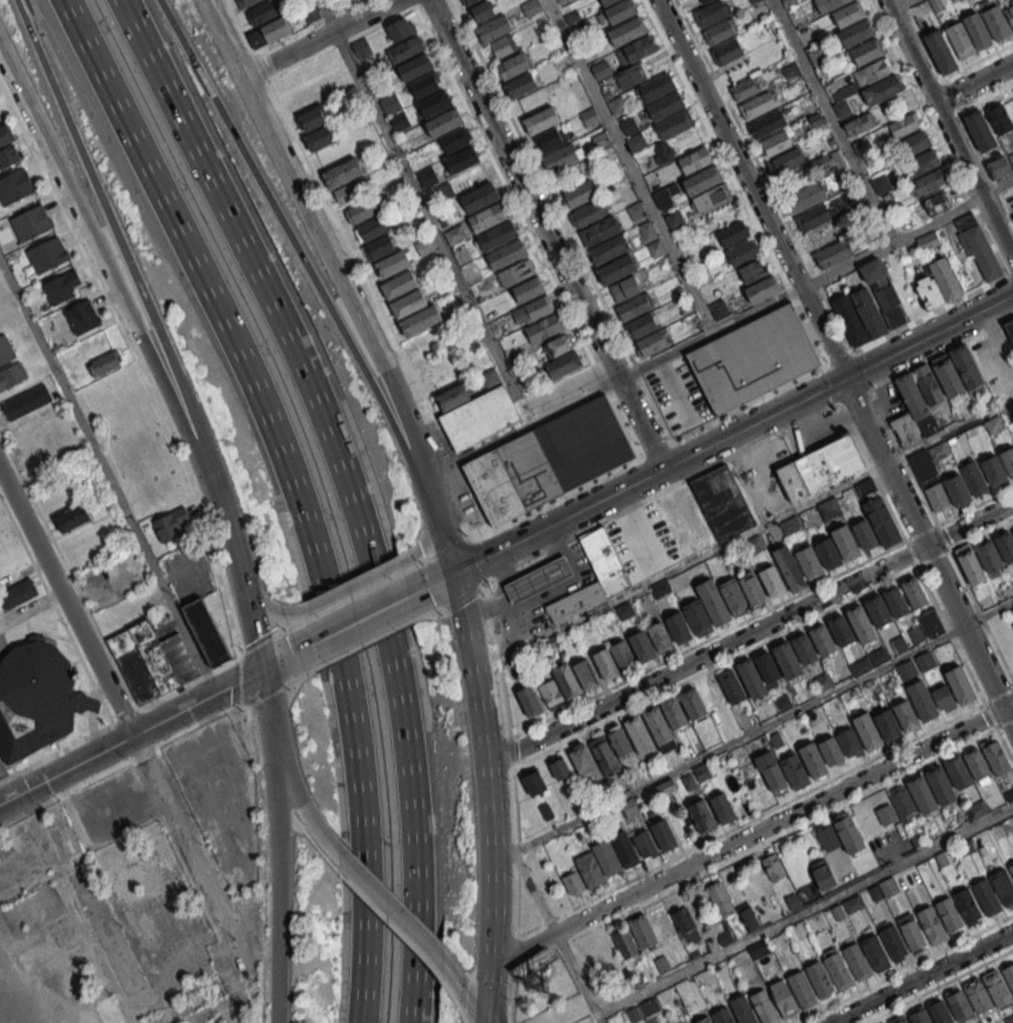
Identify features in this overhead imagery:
building: (470, 1)
building: (704, 1)
building: (711, 1)
road: (906, 1)
building: (248, 3)
road: (412, 3)
road: (421, 3)
building: (828, 4)
road: (895, 6)
building: (531, 7)
building: (618, 9)
building: (481, 11)
building: (263, 12)
building: (848, 14)
building: (713, 15)
road: (326, 16)
building: (998, 24)
road: (307, 26)
road: (240, 27)
building: (495, 31)
building: (627, 31)
building: (269, 32)
building: (718, 32)
building: (978, 32)
building: (856, 33)
road: (223, 39)
road: (320, 39)
building: (961, 41)
road: (341, 43)
building: (635, 50)
building: (727, 51)
building: (866, 51)
building: (405, 52)
building: (942, 54)
road: (978, 62)
road: (260, 67)
building: (515, 67)
building: (417, 69)
building: (600, 69)
building: (872, 72)
building: (632, 75)
road: (973, 82)
road: (15, 85)
building: (424, 86)
building: (522, 87)
building: (655, 87)
building: (743, 89)
building: (882, 90)
road: (985, 97)
building: (759, 104)
building: (436, 105)
building: (665, 105)
building: (617, 106)
building: (394, 111)
road: (957, 111)
building: (589, 117)
building: (999, 118)
road: (832, 121)
building: (543, 122)
building: (767, 123)
building: (628, 124)
building: (674, 124)
building: (446, 125)
building: (904, 125)
building: (317, 127)
building: (979, 129)
road: (947, 131)
building: (6, 134)
road: (938, 137)
building: (550, 139)
building: (456, 142)
building: (776, 143)
building: (912, 145)
building: (663, 153)
building: (9, 156)
building: (562, 157)
building: (695, 160)
building: (464, 162)
building: (787, 165)
road: (630, 166)
building: (1001, 166)
building: (342, 172)
building: (923, 173)
road: (763, 175)
building: (473, 180)
building: (702, 180)
road: (734, 182)
building: (880, 185)
building: (14, 186)
road: (751, 189)
building: (581, 192)
building: (806, 197)
building: (483, 199)
building: (711, 199)
building: (936, 204)
building: (359, 211)
building: (588, 213)
building: (814, 216)
building: (1012, 216)
building: (488, 217)
road: (105, 220)
building: (964, 220)
road: (561, 221)
building: (30, 222)
road: (433, 227)
building: (371, 229)
road: (546, 234)
building: (732, 234)
building: (497, 235)
road: (907, 235)
road: (288, 237)
building: (603, 240)
building: (928, 240)
building: (379, 247)
building: (980, 251)
building: (46, 254)
building: (506, 254)
building: (742, 254)
building: (833, 254)
building: (394, 267)
building: (616, 269)
building: (875, 272)
building: (515, 273)
building: (751, 273)
road: (1012, 273)
road: (1008, 275)
building: (945, 278)
road: (113, 279)
building: (61, 286)
building: (400, 288)
building: (625, 288)
building: (528, 290)
building: (763, 290)
building: (928, 292)
road: (945, 305)
building: (634, 306)
building: (891, 306)
building: (409, 307)
building: (532, 311)
building: (868, 311)
building: (82, 316)
building: (850, 319)
road: (363, 320)
building: (421, 323)
building: (641, 325)
building: (544, 329)
building: (1010, 329)
road: (928, 337)
building: (652, 342)
road: (869, 344)
road: (941, 349)
building: (5, 350)
building: (561, 358)
building: (752, 358)
road: (838, 358)
building: (106, 362)
road: (137, 364)
building: (966, 367)
road: (859, 368)
building: (11, 375)
building: (947, 375)
building: (490, 378)
traffic signals: (843, 380)
road: (611, 382)
road: (831, 384)
building: (928, 384)
road: (854, 394)
building: (912, 395)
building: (26, 401)
building: (479, 418)
building: (994, 425)
building: (905, 430)
road: (949, 432)
building: (584, 442)
road: (648, 453)
building: (1007, 458)
building: (829, 463)
building: (993, 470)
road: (872, 471)
road: (108, 477)
building: (512, 478)
building: (973, 478)
building: (791, 481)
road: (627, 487)
building: (864, 487)
road: (293, 488)
road: (347, 489)
building: (957, 490)
road: (659, 491)
building: (935, 496)
building: (722, 503)
road: (974, 504)
building: (829, 507)
building: (72, 517)
building: (881, 521)
building: (171, 524)
building: (790, 525)
building: (1012, 529)
building: (1012, 532)
building: (863, 534)
road: (939, 534)
road: (980, 534)
building: (846, 542)
building: (755, 543)
building: (1005, 545)
road: (449, 547)
road: (911, 552)
building: (828, 553)
road: (928, 553)
road: (230, 555)
building: (601, 555)
building: (990, 555)
road: (933, 557)
road: (477, 560)
building: (809, 562)
road: (679, 566)
building: (969, 566)
building: (788, 568)
road: (68, 573)
traffic signals: (455, 573)
road: (371, 576)
building: (771, 581)
building: (540, 582)
road: (253, 588)
building: (750, 588)
building: (914, 592)
building: (17, 593)
road: (354, 594)
road: (463, 595)
building: (733, 596)
building: (895, 600)
road: (69, 601)
building: (577, 604)
road: (31, 606)
building: (716, 606)
building: (877, 610)
road: (988, 614)
building: (698, 618)
road: (359, 621)
building: (861, 624)
building: (930, 624)
building: (678, 627)
building: (840, 631)
building: (206, 632)
road: (951, 633)
road: (749, 634)
building: (660, 637)
road: (707, 638)
building: (821, 639)
road: (261, 643)
road: (363, 643)
building: (642, 646)
building: (804, 648)
building: (622, 655)
road: (498, 659)
building: (786, 659)
building: (152, 661)
building: (605, 664)
road: (715, 665)
building: (766, 666)
traffic signals: (262, 671)
building: (585, 674)
building: (750, 678)
building: (567, 681)
road: (242, 682)
building: (961, 685)
building: (731, 686)
road: (219, 691)
building: (551, 693)
road: (266, 695)
building: (36, 697)
building: (943, 698)
building: (529, 700)
building: (922, 700)
building: (692, 703)
building: (672, 713)
building: (906, 715)
road: (989, 715)
road: (119, 719)
road: (270, 722)
building: (887, 724)
building: (658, 725)
building: (867, 731)
building: (638, 734)
road: (738, 739)
building: (619, 742)
building: (848, 742)
road: (1004, 745)
road: (510, 751)
building: (830, 751)
building: (603, 756)
building: (995, 756)
building: (579, 757)
building: (813, 760)
road: (122, 761)
building: (976, 763)
road: (256, 767)
building: (559, 767)
road: (486, 768)
road: (66, 770)
building: (795, 771)
building: (957, 771)
building: (773, 777)
building: (533, 781)
building: (940, 784)
building: (755, 786)
building: (921, 793)
building: (1008, 794)
building: (903, 803)
building: (723, 808)
building: (976, 809)
road: (765, 812)
building: (701, 816)
road: (311, 817)
road: (277, 828)
road: (298, 829)
building: (848, 832)
building: (663, 834)
road: (751, 836)
building: (828, 837)
building: (916, 839)
building: (644, 843)
road: (764, 843)
building: (623, 848)
building: (966, 849)
road: (321, 852)
road: (502, 857)
building: (607, 858)
building: (943, 860)
road: (517, 866)
building: (773, 867)
building: (1011, 868)
building: (589, 870)
building: (823, 873)
building: (571, 882)
building: (1003, 886)
building: (889, 887)
road: (534, 892)
building: (875, 892)
building: (986, 896)
building: (718, 897)
road: (277, 898)
building: (853, 903)
building: (967, 904)
road: (804, 910)
building: (838, 912)
road: (394, 913)
building: (948, 913)
building: (749, 918)
building: (683, 920)
building: (931, 924)
road: (263, 925)
road: (395, 929)
building: (642, 930)
building: (724, 934)
building: (913, 936)
building: (624, 942)
building: (893, 942)
building: (759, 948)
building: (605, 951)
building: (875, 953)
building: (857, 961)
building: (662, 963)
road: (903, 968)
building: (838, 971)
building: (1008, 976)
road: (577, 977)
building: (818, 977)
road: (922, 977)
road: (938, 985)
building: (996, 987)
road: (463, 989)
road: (486, 989)
building: (801, 989)
road: (512, 995)
building: (977, 995)
building: (783, 998)
road: (456, 1004)
building: (649, 1006)
building: (960, 1006)
building: (764, 1007)
building: (742, 1009)
building: (939, 1012)
traffic signals: (482, 1013)
building: (633, 1014)
building: (722, 1016)
building: (919, 1016)
road: (481, 1018)
road: (484, 1018)
building: (898, 1019)
building: (1008, 1019)
building: (704, 1020)
road: (510, 1021)
building: (883, 1022)

